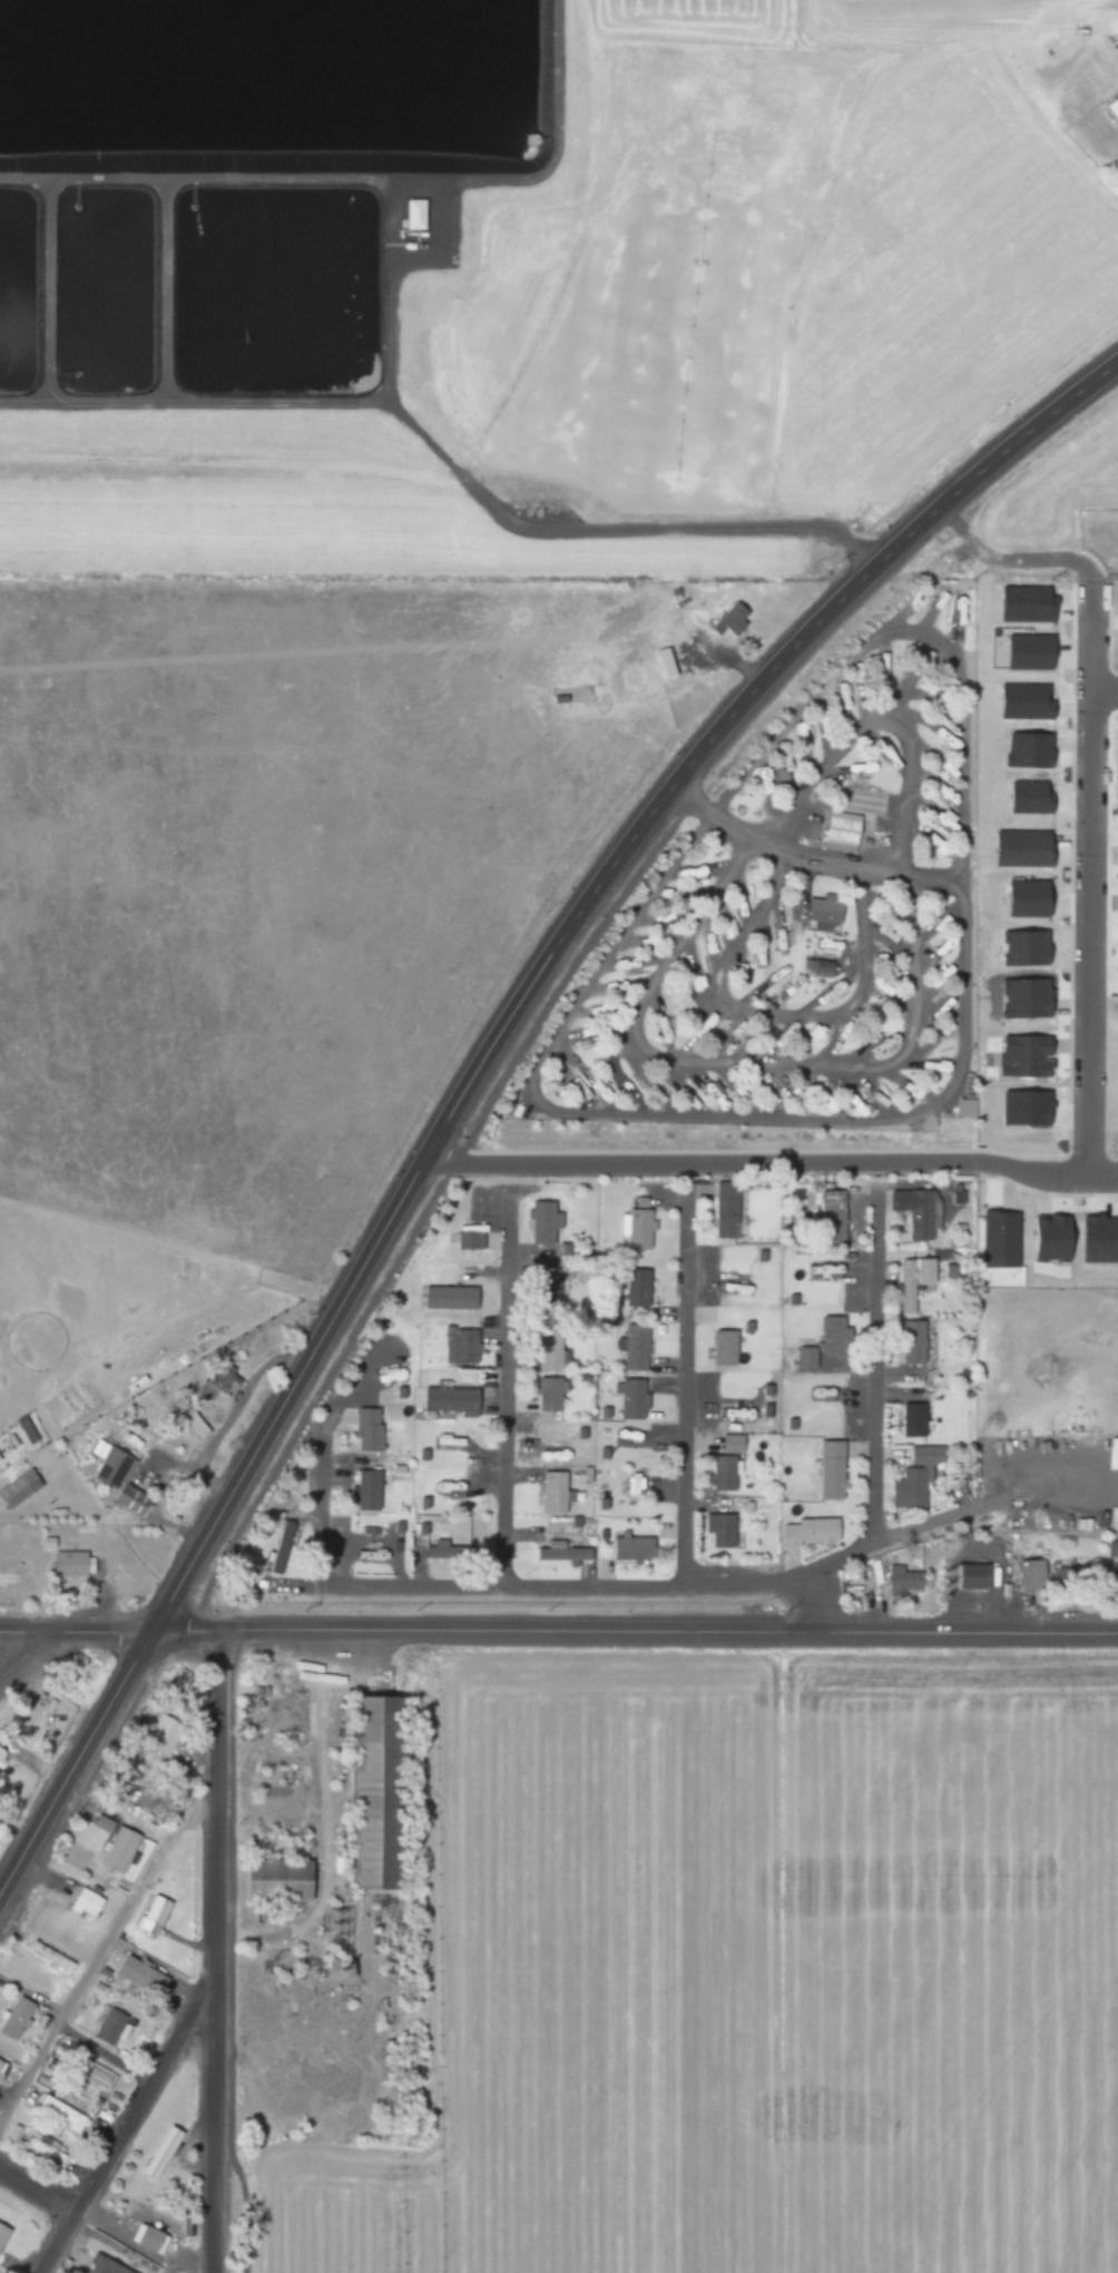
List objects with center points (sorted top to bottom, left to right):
building: (1115, 40)
building: (1111, 107)
building: (421, 214)
crop: (660, 318)
road: (448, 464)
building: (1019, 602)
building: (732, 617)
building: (1022, 651)
building: (659, 662)
road: (1106, 687)
building: (1017, 695)
building: (1117, 754)
building: (762, 777)
building: (837, 830)
building: (931, 842)
building: (1020, 857)
building: (687, 872)
road: (1091, 886)
building: (1021, 897)
building: (818, 912)
road: (566, 943)
building: (1019, 947)
building: (759, 953)
building: (817, 966)
building: (1018, 985)
building: (706, 1024)
building: (660, 1029)
building: (727, 1037)
building: (737, 1089)
building: (707, 1090)
building: (795, 1091)
building: (961, 1106)
road: (771, 1164)
building: (954, 1195)
building: (726, 1209)
building: (912, 1211)
building: (831, 1221)
building: (542, 1222)
building: (639, 1222)
building: (1045, 1237)
building: (1092, 1238)
building: (994, 1239)
building: (469, 1240)
building: (912, 1280)
building: (451, 1297)
building: (834, 1337)
building: (912, 1342)
building: (460, 1346)
building: (629, 1346)
building: (549, 1347)
building: (805, 1358)
road: (872, 1367)
road: (669, 1374)
building: (220, 1383)
building: (549, 1393)
building: (627, 1397)
building: (448, 1400)
road: (502, 1404)
building: (911, 1420)
building: (27, 1428)
building: (369, 1429)
building: (920, 1456)
building: (724, 1465)
building: (831, 1470)
building: (120, 1478)
building: (630, 1482)
building: (20, 1488)
building: (912, 1488)
building: (367, 1490)
building: (553, 1493)
building: (720, 1531)
building: (810, 1531)
building: (281, 1547)
building: (632, 1547)
building: (448, 1552)
building: (565, 1552)
building: (69, 1563)
building: (1032, 1574)
building: (963, 1576)
building: (1069, 1576)
building: (896, 1580)
road: (656, 1584)
road: (814, 1602)
road: (558, 1630)
road: (22, 1651)
building: (164, 1730)
building: (2, 1748)
road: (73, 1764)
building: (380, 1791)
building: (105, 1822)
building: (121, 1847)
building: (278, 1880)
building: (85, 1902)
building: (153, 1913)
road: (104, 1931)
road: (214, 1951)
building: (49, 1957)
building: (337, 1968)
crop: (744, 1975)
building: (141, 1977)
building: (14, 2018)
building: (111, 2024)
building: (2, 2070)
building: (59, 2112)
road: (122, 2123)
building: (43, 2147)
building: (164, 2153)
road: (35, 2188)
building: (150, 2224)
building: (3, 2233)
road: (185, 2260)
building: (109, 2265)

